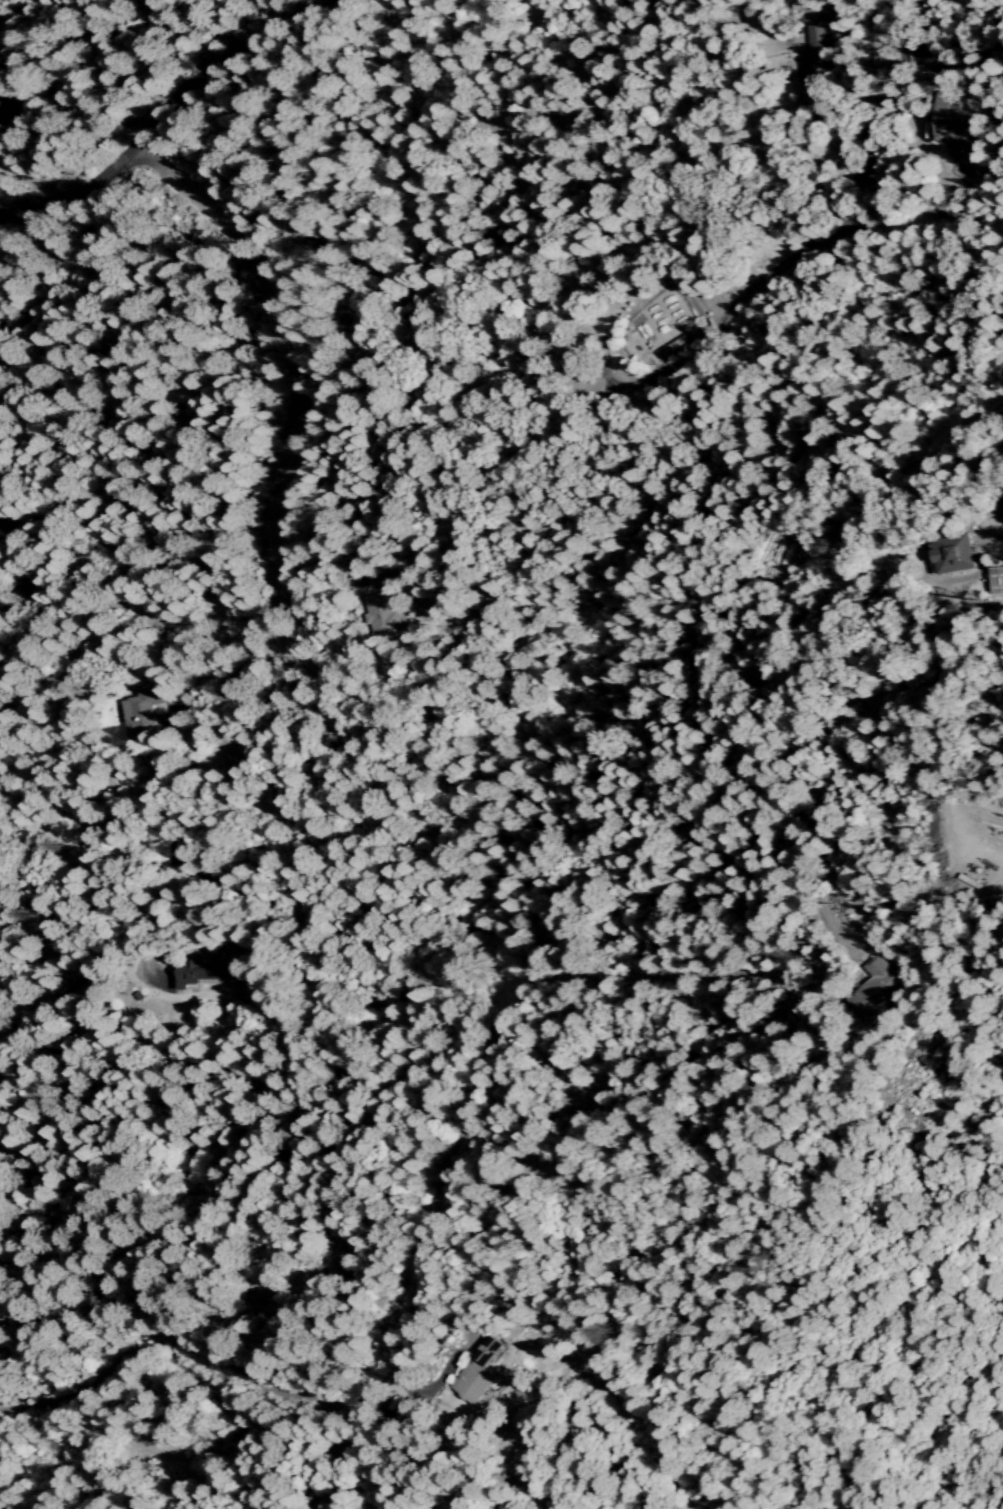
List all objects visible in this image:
road: (159, 114)
road: (278, 526)
building: (953, 559)
building: (388, 616)
building: (143, 711)
building: (189, 978)
building: (877, 989)
building: (477, 1372)

